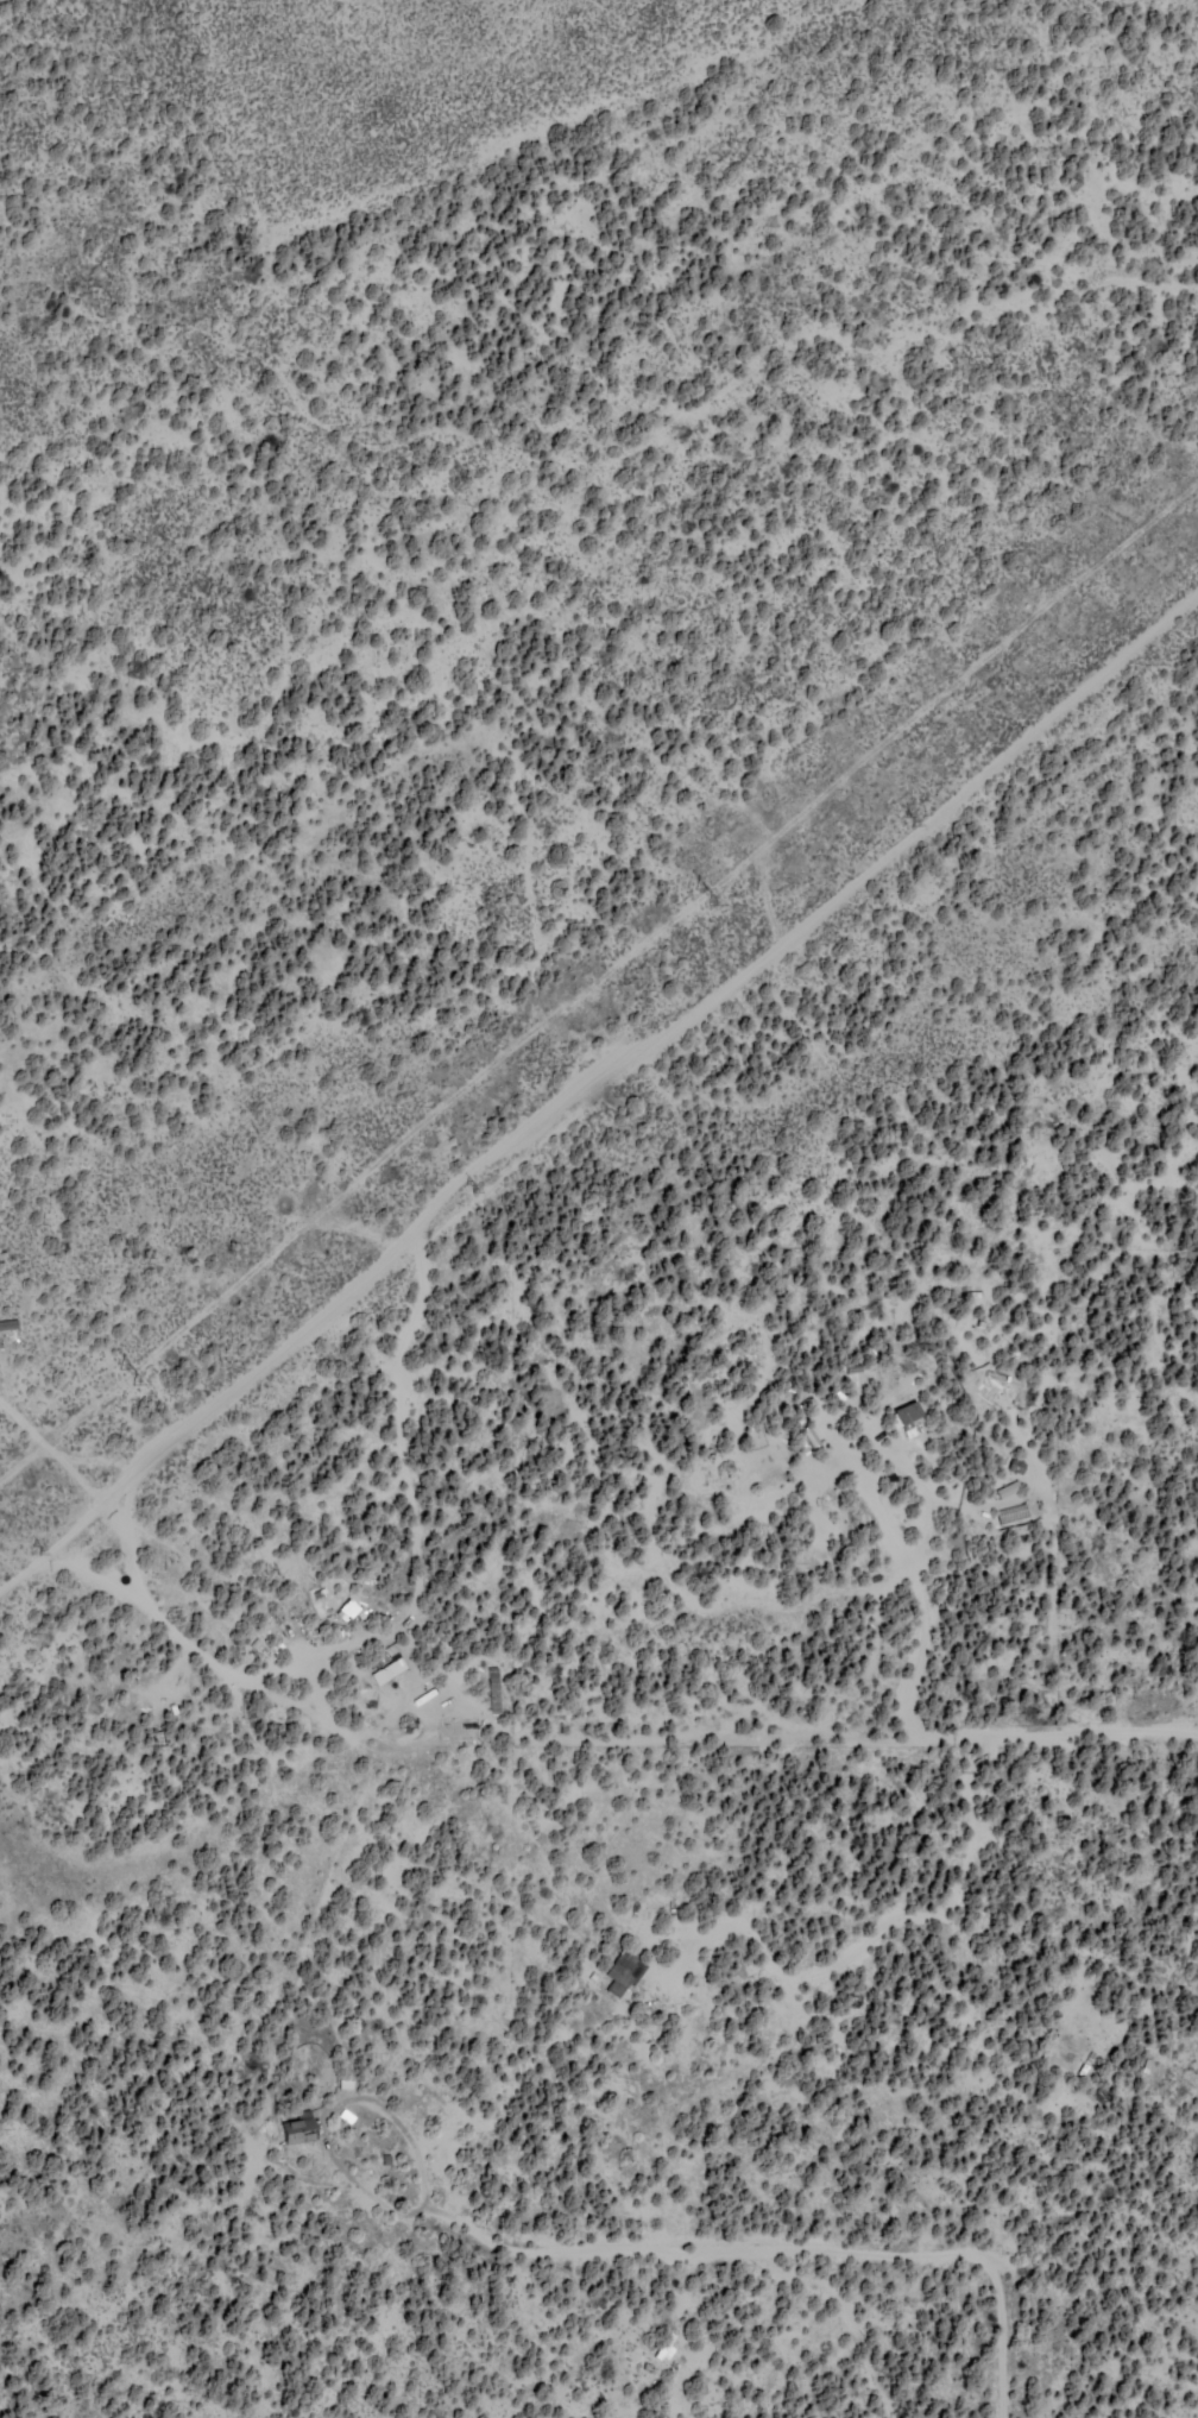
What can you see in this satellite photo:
power tower: (700, 899)
road: (599, 1008)
power tower: (467, 1186)
building: (8, 1323)
power tower: (124, 1377)
building: (908, 1416)
building: (812, 1435)
building: (1008, 1488)
power tower: (44, 1547)
building: (347, 1610)
building: (390, 1664)
building: (494, 1689)
building: (624, 1971)
building: (299, 2128)
road: (935, 2210)
road: (984, 2319)
building: (667, 2345)

